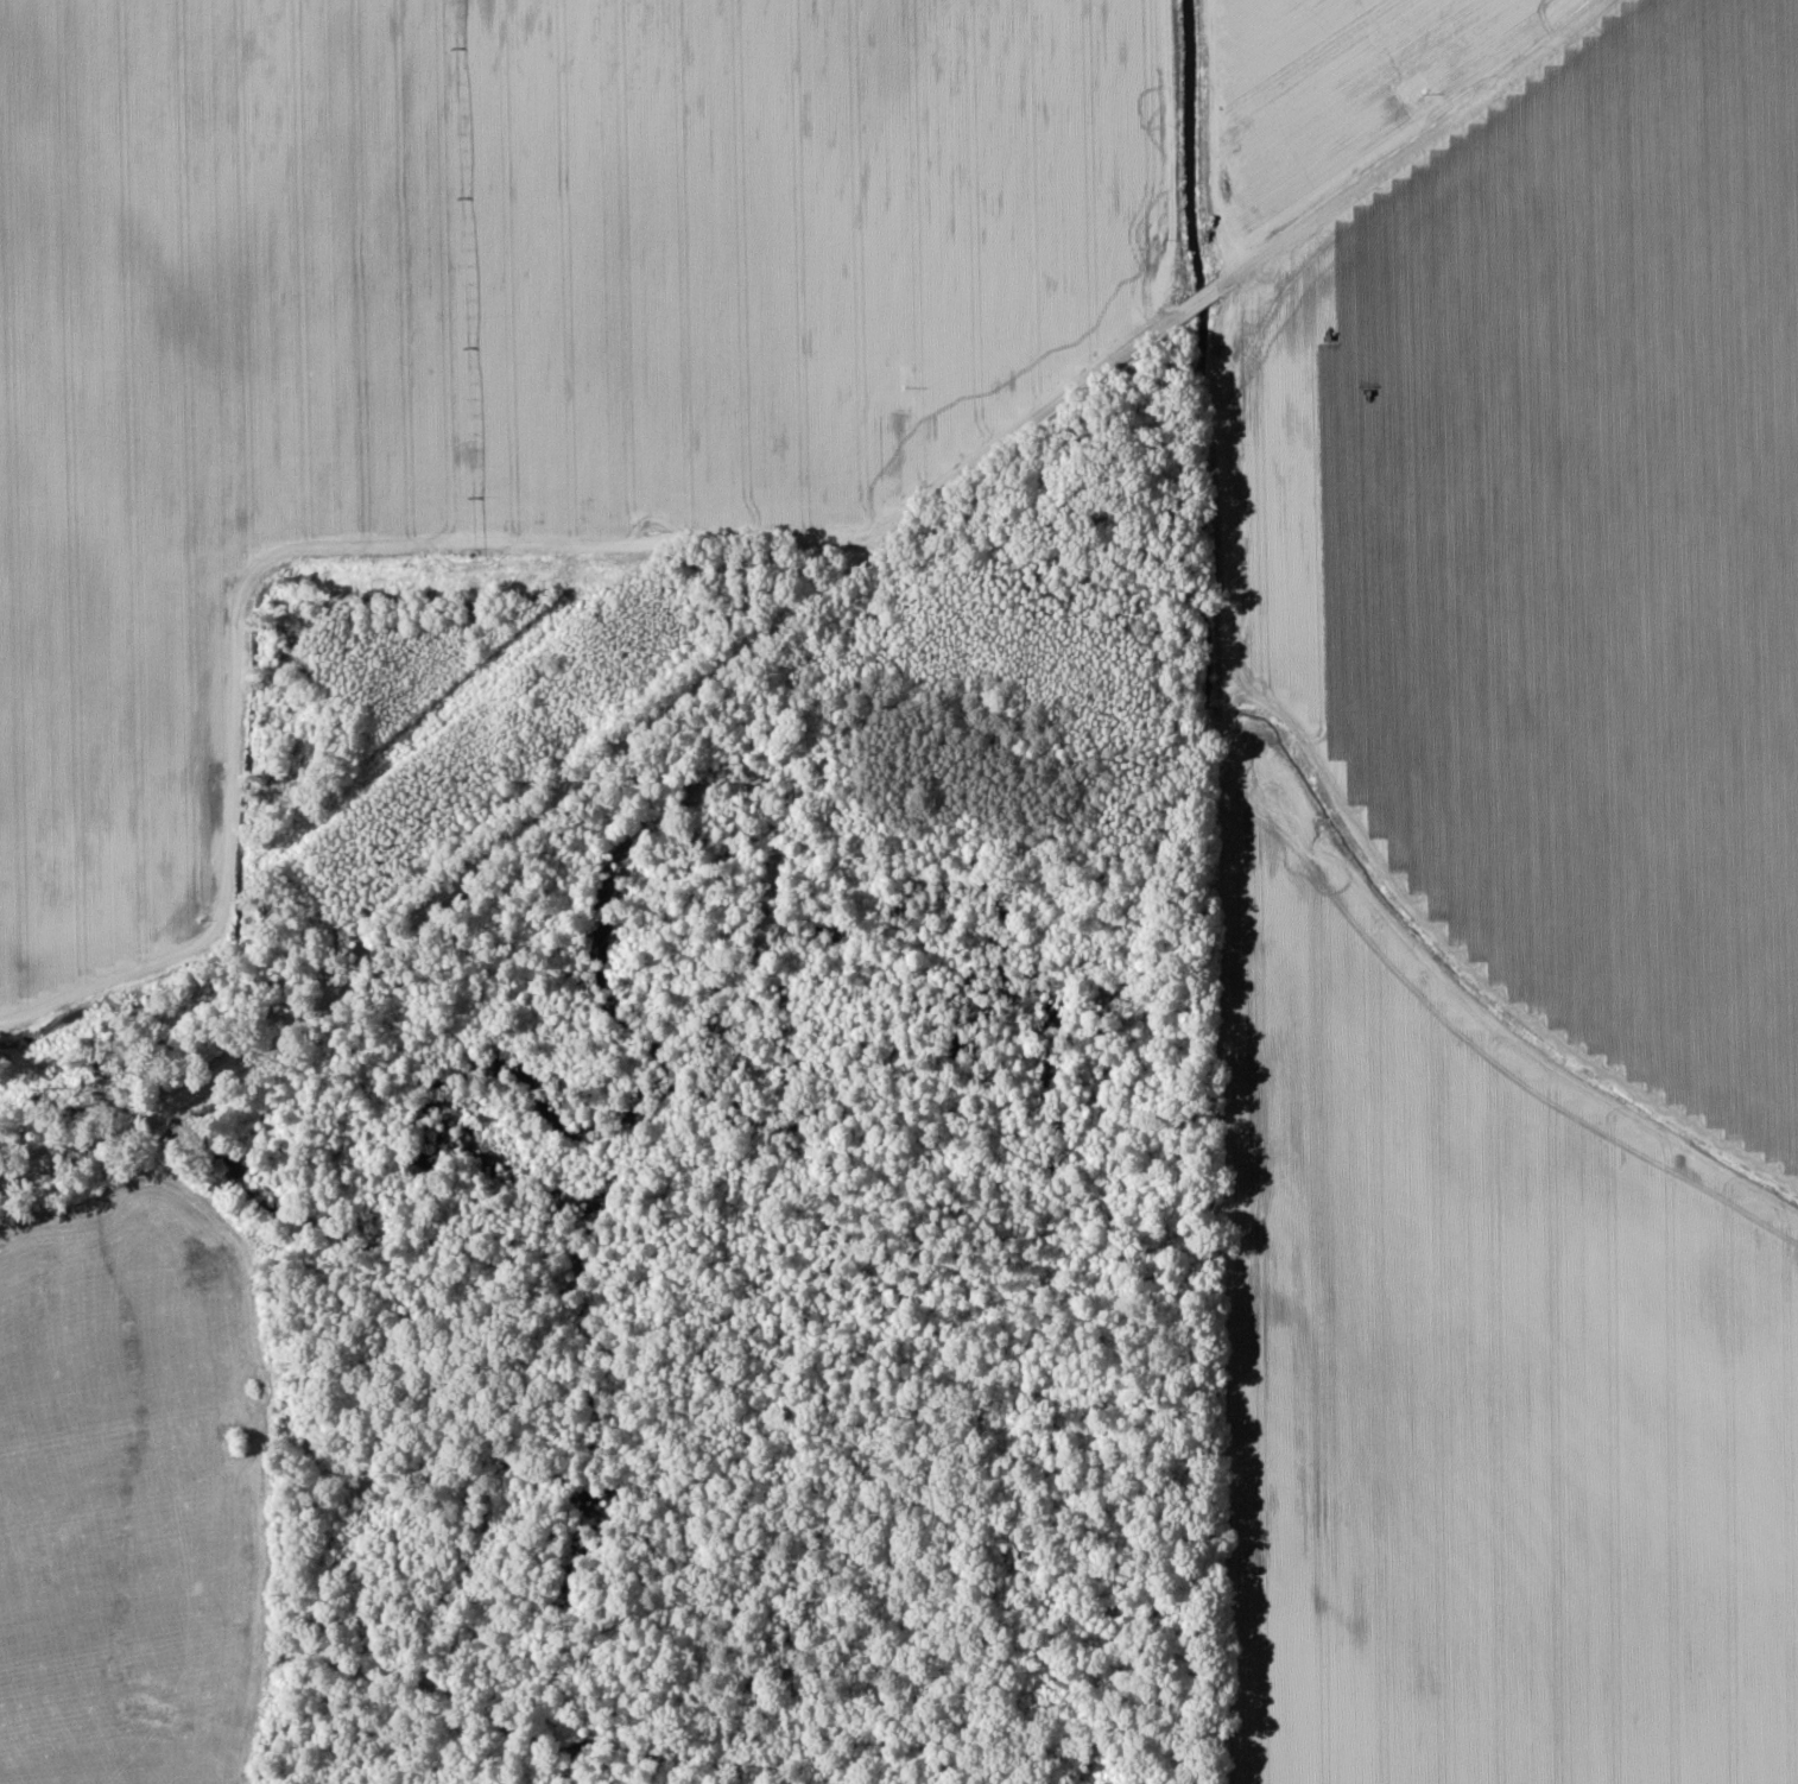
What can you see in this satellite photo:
road: (756, 279)
road: (790, 595)

